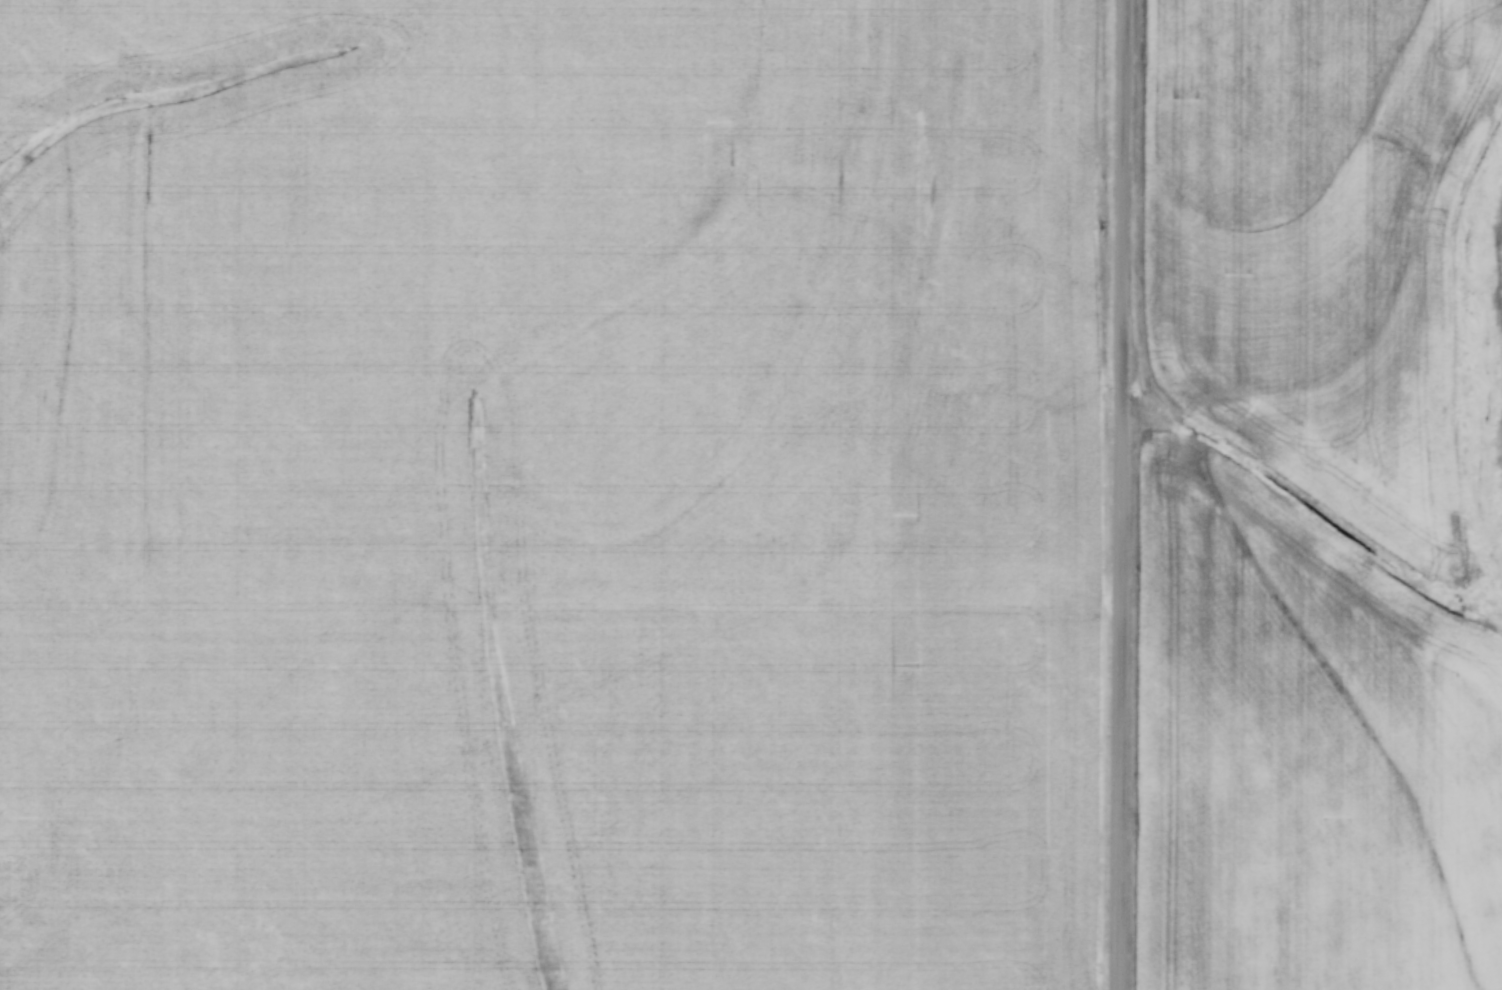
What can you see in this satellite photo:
road: (1123, 494)

